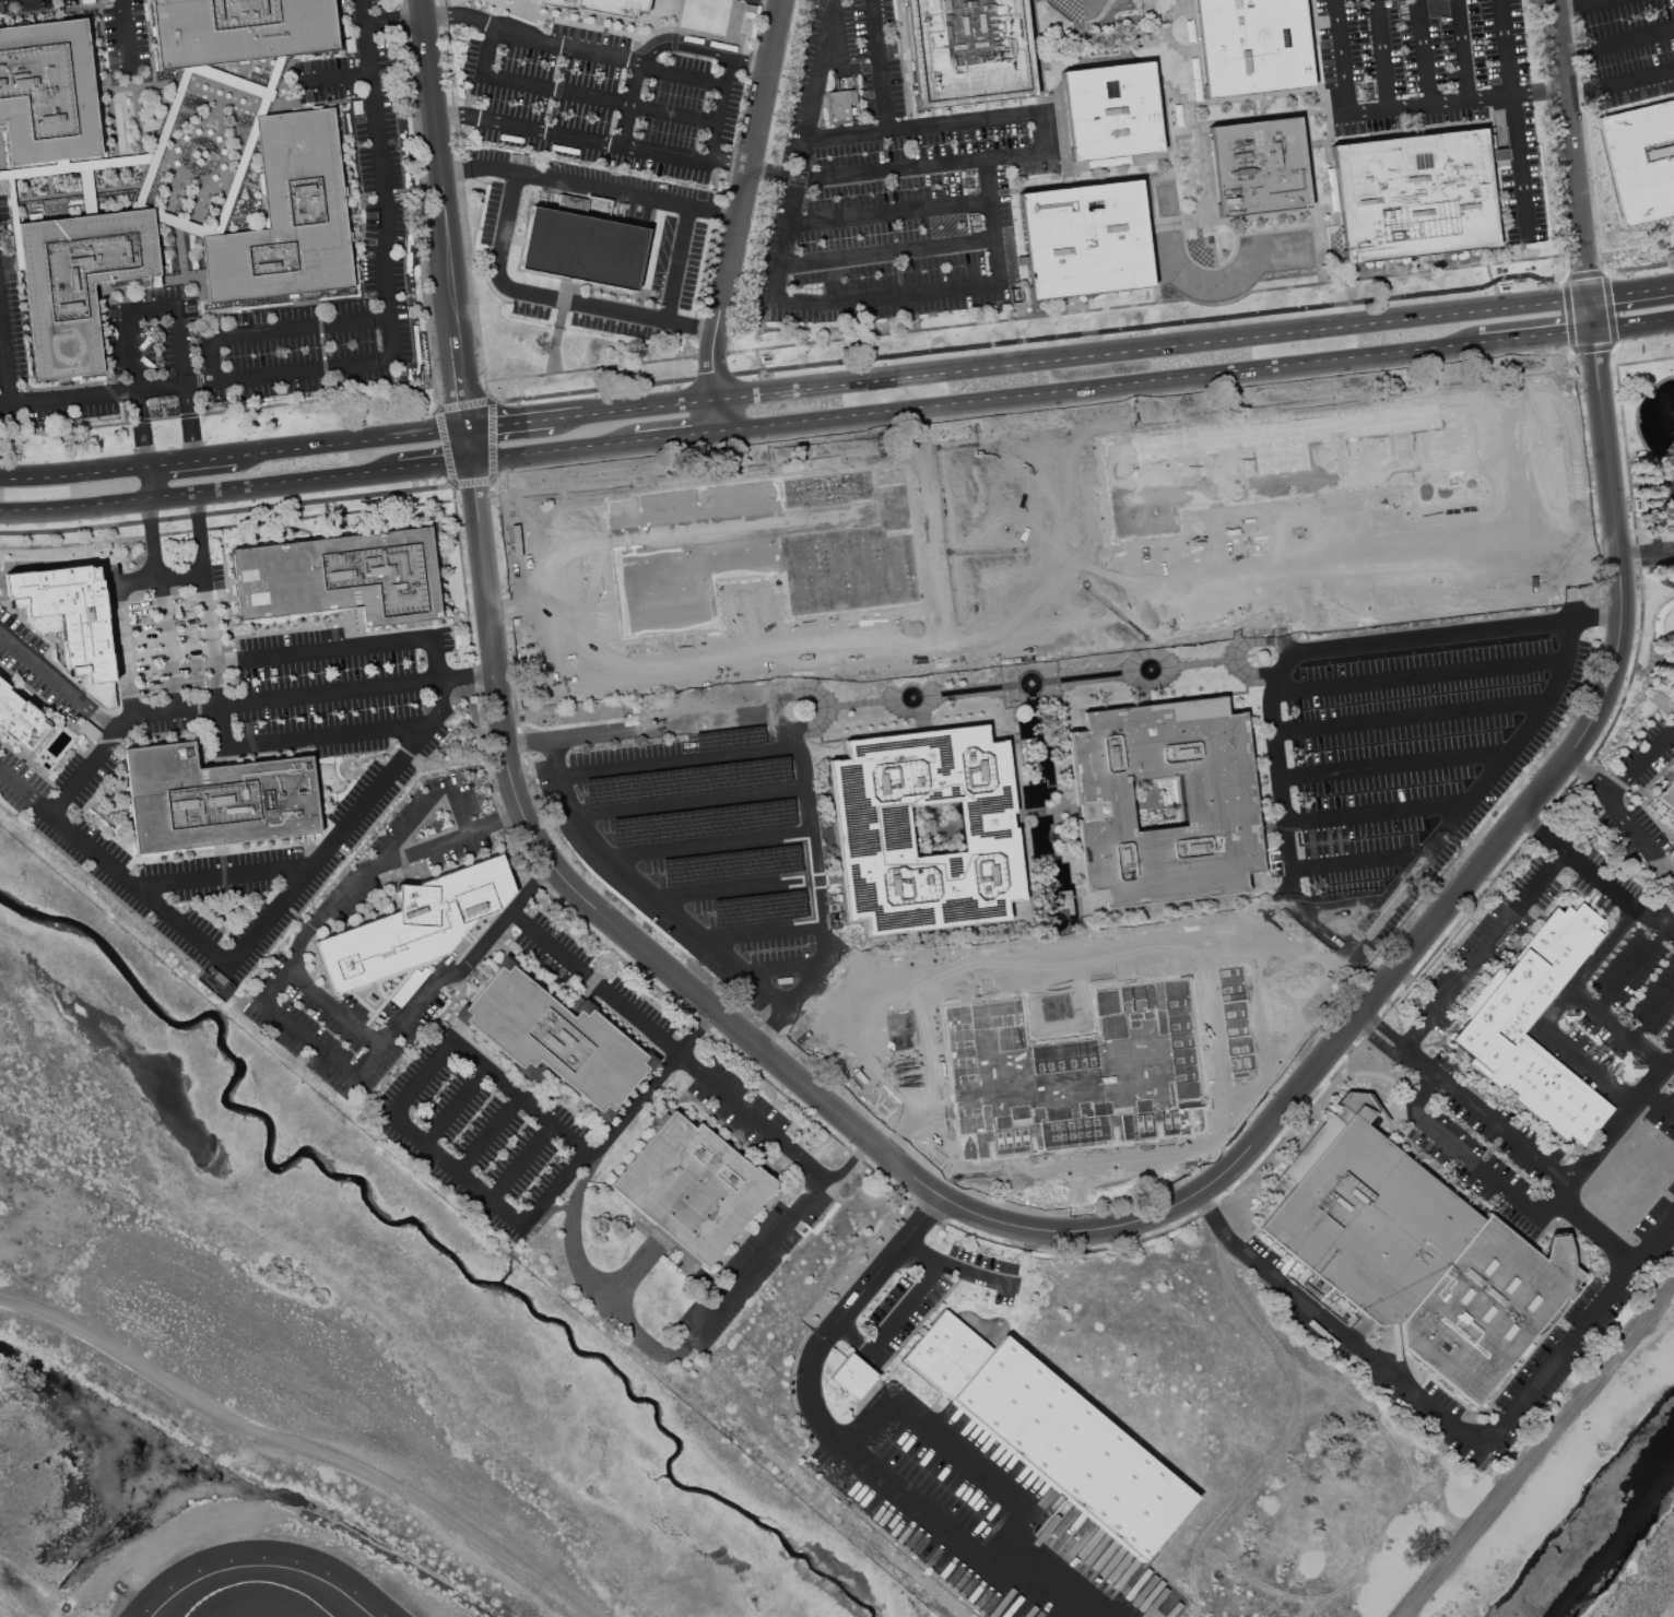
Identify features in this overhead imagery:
road: (1593, 1)
building: (602, 5)
road: (1575, 5)
road: (460, 15)
building: (241, 29)
road: (127, 37)
road: (1631, 39)
building: (1253, 44)
road: (680, 45)
road: (1462, 49)
road: (488, 50)
building: (970, 50)
road: (1425, 51)
road: (1384, 54)
road: (1337, 57)
road: (608, 59)
road: (750, 64)
road: (880, 64)
road: (338, 79)
road: (1635, 79)
building: (48, 92)
building: (231, 96)
road: (601, 97)
road: (1454, 101)
road: (628, 105)
building: (841, 105)
road: (721, 108)
building: (1112, 111)
road: (449, 115)
road: (1513, 118)
road: (926, 125)
road: (542, 129)
road: (1048, 130)
road: (804, 146)
road: (1575, 147)
road: (668, 156)
road: (732, 161)
building: (1640, 161)
road: (924, 164)
building: (1260, 164)
road: (775, 172)
road: (382, 178)
road: (593, 181)
building: (1414, 193)
road: (744, 199)
road: (889, 213)
road: (448, 214)
building: (288, 216)
road: (991, 219)
building: (1087, 238)
building: (585, 249)
road: (887, 251)
building: (79, 282)
road: (1632, 291)
road: (886, 295)
road: (1544, 303)
road: (587, 304)
road: (154, 307)
road: (1593, 315)
road: (298, 327)
road: (1635, 328)
road: (1070, 334)
road: (1570, 337)
road: (838, 340)
road: (185, 344)
road: (1513, 344)
road: (134, 351)
road: (1108, 352)
road: (4, 359)
road: (211, 361)
road: (197, 385)
road: (997, 385)
road: (1103, 392)
road: (650, 406)
road: (567, 416)
road: (722, 416)
road: (1604, 416)
road: (196, 422)
road: (511, 424)
road: (144, 428)
road: (680, 439)
road: (353, 441)
road: (1002, 445)
road: (472, 447)
road: (555, 455)
road: (839, 456)
road: (193, 460)
road: (1018, 460)
road: (1050, 460)
road: (435, 468)
road: (74, 474)
road: (958, 474)
road: (148, 484)
road: (199, 495)
road: (243, 509)
road: (1654, 514)
road: (553, 523)
road: (1446, 528)
road: (201, 532)
road: (1076, 535)
road: (152, 538)
road: (1042, 539)
road: (1520, 540)
road: (988, 546)
road: (946, 552)
road: (1646, 555)
road: (1589, 557)
road: (1541, 558)
road: (180, 570)
building: (341, 577)
road: (1305, 586)
road: (1566, 587)
road: (1070, 614)
road: (1596, 617)
building: (70, 619)
road: (1025, 619)
road: (119, 625)
road: (976, 625)
road: (1433, 634)
road: (166, 640)
road: (356, 646)
road: (773, 648)
road: (469, 672)
road: (1420, 675)
road: (579, 678)
road: (58, 681)
road: (561, 682)
road: (789, 694)
road: (284, 695)
road: (569, 712)
road: (1411, 715)
building: (20, 718)
road: (803, 724)
road: (639, 729)
road: (243, 744)
road: (682, 762)
road: (1641, 763)
road: (1394, 764)
road: (91, 765)
road: (25, 791)
building: (215, 798)
building: (1667, 798)
road: (692, 800)
building: (1217, 802)
road: (417, 809)
road: (1377, 813)
road: (1622, 813)
road: (349, 826)
building: (873, 829)
road: (1543, 831)
road: (1287, 839)
road: (711, 842)
road: (1359, 861)
road: (227, 871)
road: (648, 889)
road: (740, 889)
road: (141, 890)
road: (1619, 894)
road: (823, 896)
road: (1345, 901)
road: (1389, 901)
building: (417, 924)
road: (765, 929)
road: (1484, 949)
road: (1056, 961)
road: (782, 968)
road: (1629, 969)
road: (279, 980)
road: (1270, 981)
building: (216, 982)
road: (319, 1001)
road: (1553, 1011)
road: (1652, 1011)
road: (863, 1024)
building: (1495, 1025)
road: (1617, 1026)
road: (1386, 1027)
building: (556, 1039)
road: (1376, 1040)
road: (309, 1042)
road: (668, 1043)
road: (1673, 1052)
road: (368, 1063)
road: (417, 1077)
road: (651, 1086)
road: (897, 1091)
road: (515, 1095)
road: (1659, 1100)
road: (453, 1107)
road: (1485, 1116)
road: (1606, 1133)
road: (487, 1134)
road: (1460, 1150)
road: (521, 1161)
road: (851, 1162)
road: (453, 1169)
road: (551, 1187)
building: (694, 1187)
road: (1215, 1218)
road: (1030, 1229)
road: (1595, 1229)
building: (1416, 1252)
road: (955, 1267)
road: (853, 1300)
road: (905, 1306)
road: (1578, 1330)
road: (853, 1334)
road: (1358, 1344)
road: (662, 1353)
building: (853, 1376)
road: (867, 1423)
airport: (190, 1425)
building: (1053, 1431)
road: (957, 1455)
airport: (1578, 1500)
road: (932, 1520)
road: (1005, 1538)
airport taxiway: (243, 1581)
airport taxiway: (319, 1606)

